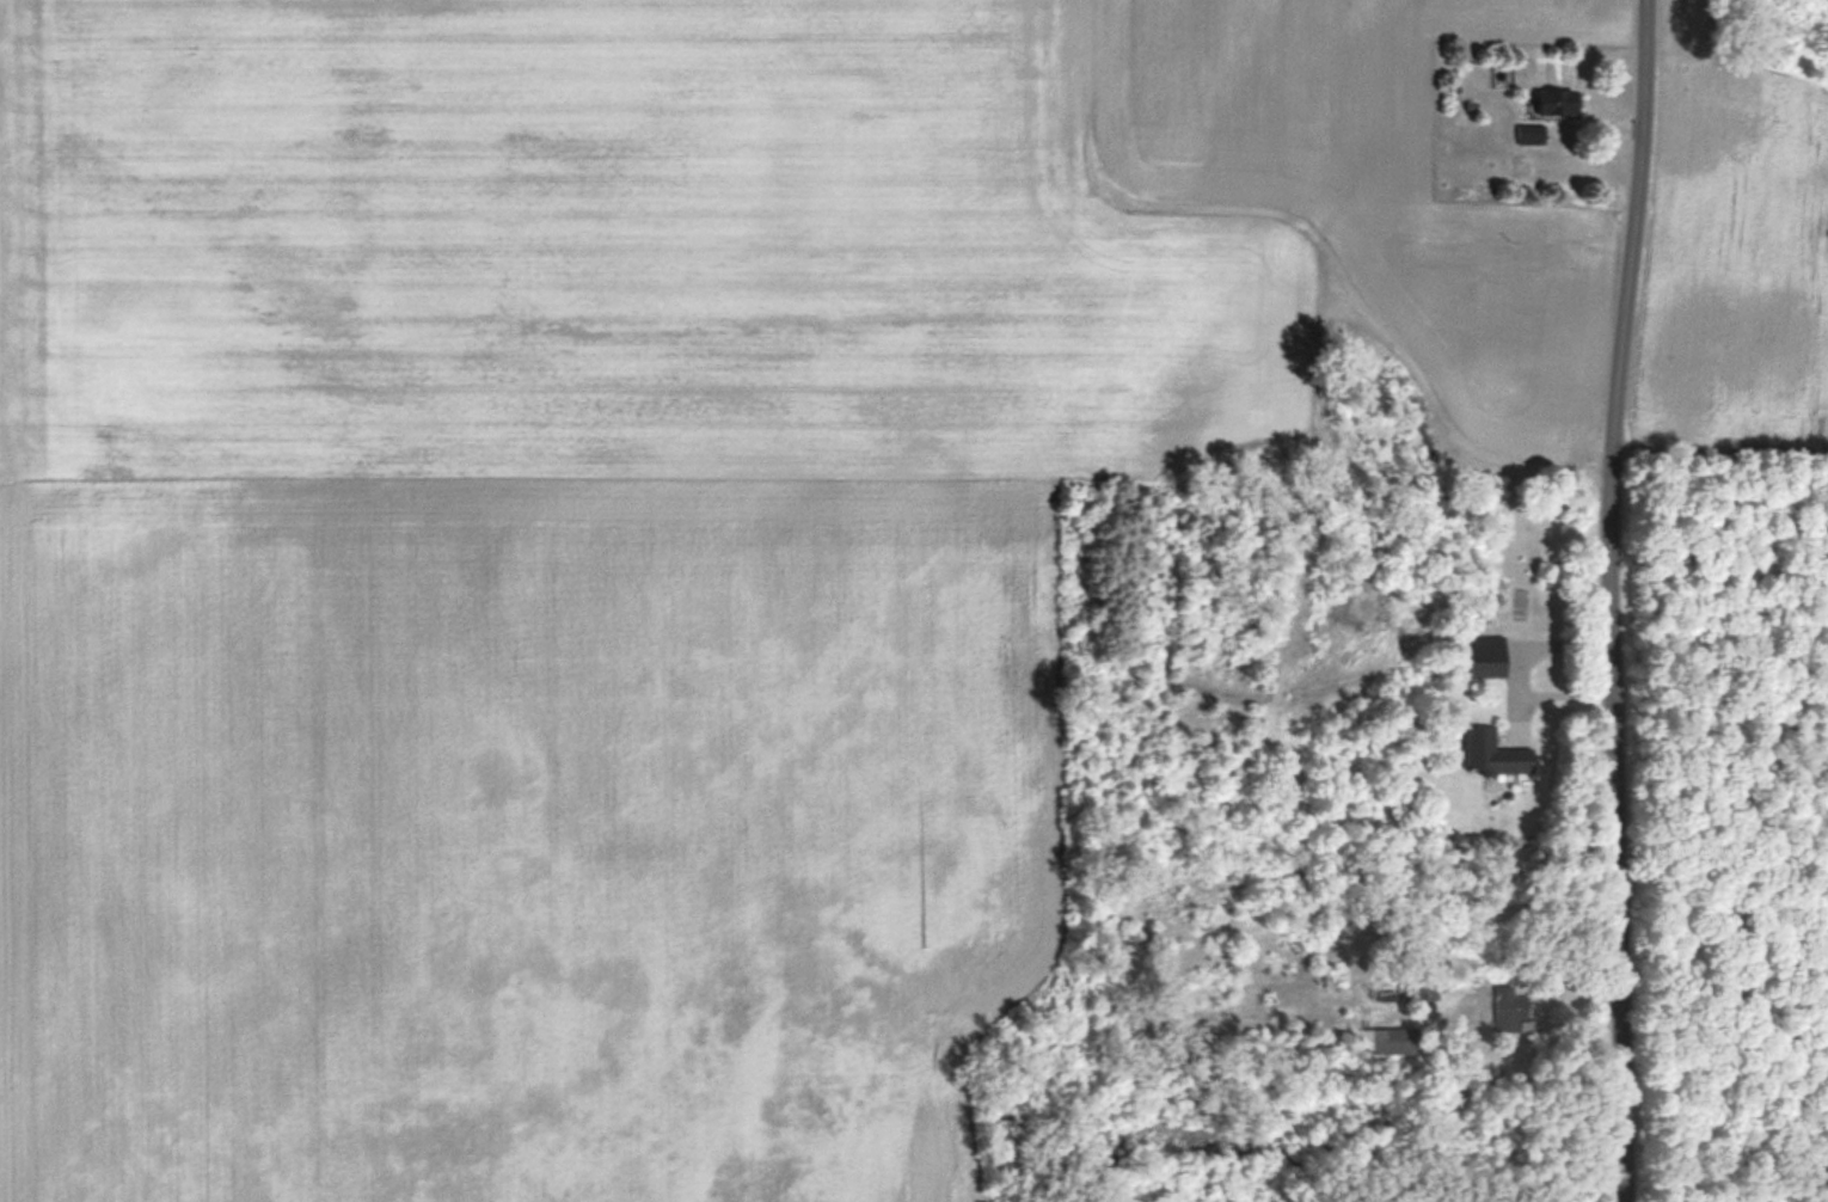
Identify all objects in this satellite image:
building: (1558, 100)
building: (1532, 130)
road: (1613, 600)
building: (1486, 655)
building: (1492, 753)
building: (1510, 1007)
building: (1388, 1040)

